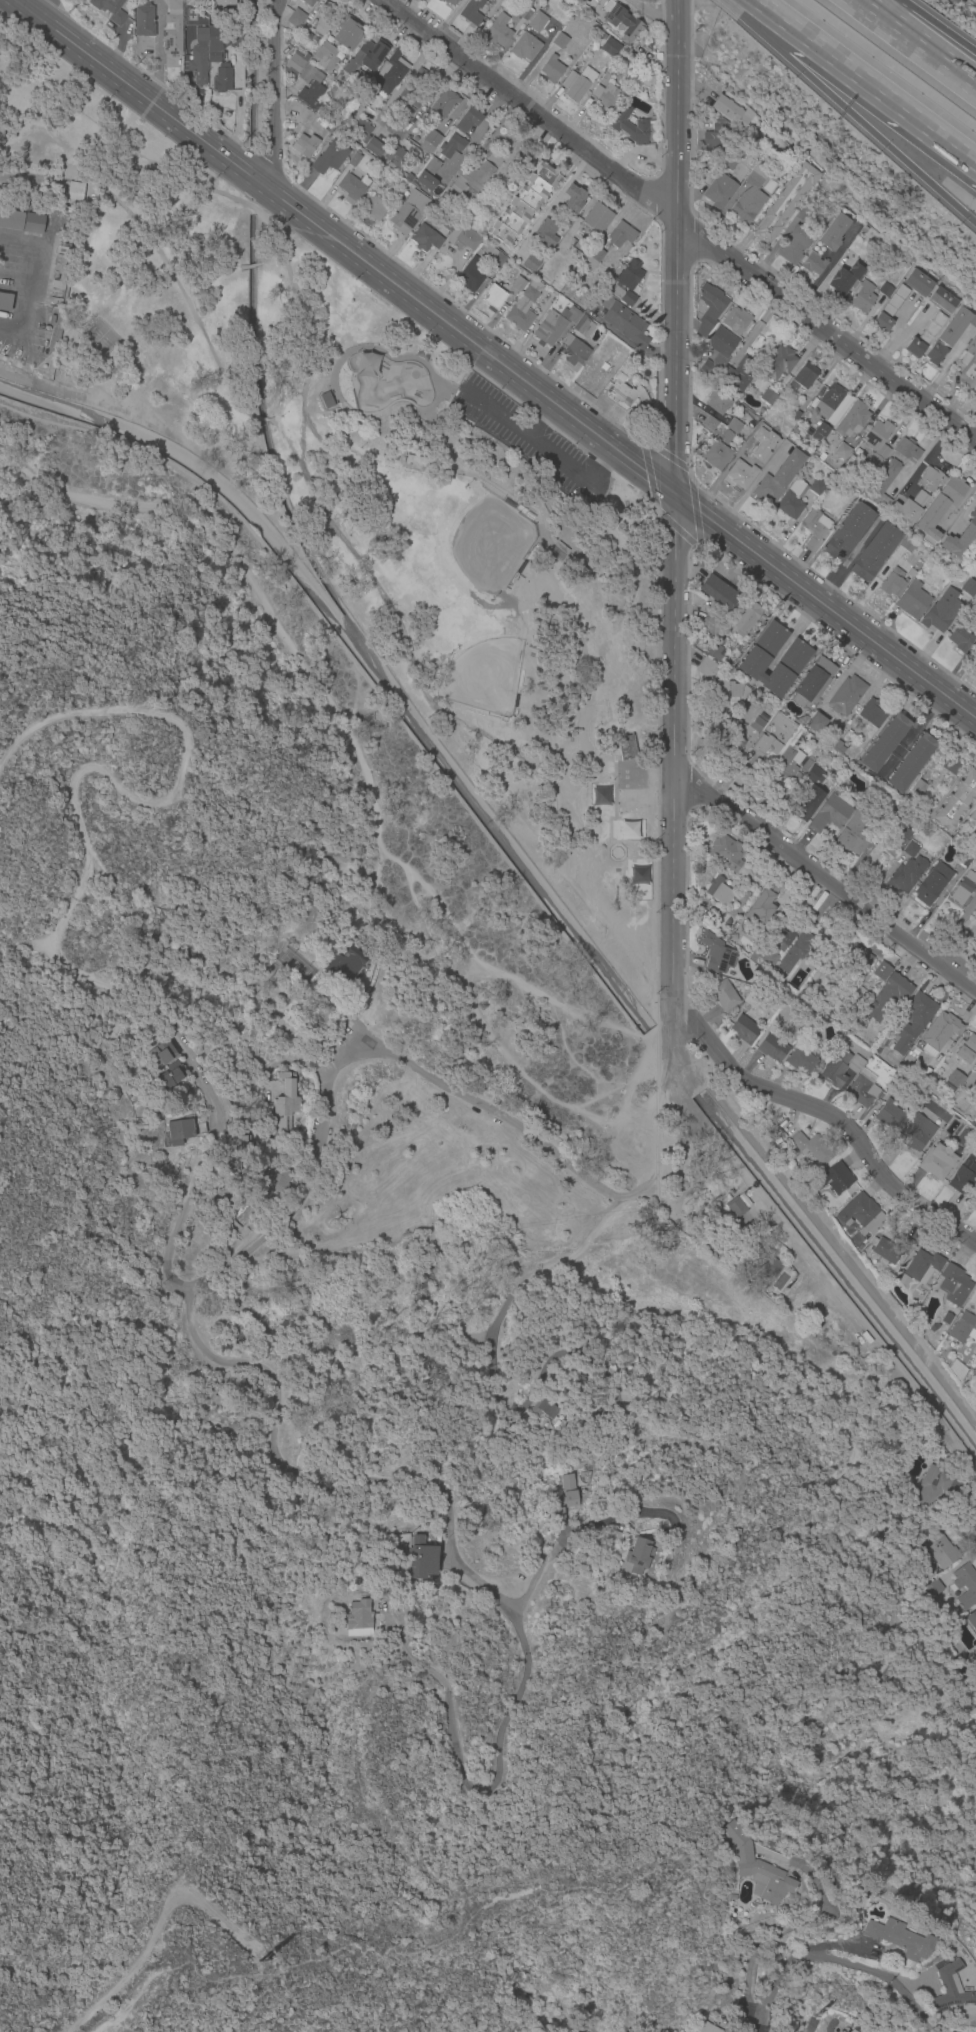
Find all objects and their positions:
building: (224, 2)
building: (309, 2)
building: (448, 2)
road: (43, 8)
building: (470, 8)
building: (111, 10)
building: (522, 11)
road: (448, 17)
building: (144, 19)
building: (295, 20)
building: (622, 21)
building: (537, 22)
building: (323, 27)
road: (928, 28)
building: (172, 29)
building: (498, 31)
building: (348, 33)
building: (559, 41)
building: (215, 42)
road: (915, 44)
building: (525, 47)
building: (610, 47)
road: (156, 49)
building: (326, 56)
building: (366, 57)
building: (199, 58)
building: (295, 64)
building: (552, 69)
building: (391, 73)
building: (222, 81)
road: (864, 82)
building: (578, 84)
building: (311, 87)
building: (415, 90)
road: (274, 95)
building: (607, 97)
building: (443, 104)
road: (860, 110)
building: (732, 111)
building: (467, 119)
building: (319, 126)
building: (633, 127)
building: (362, 130)
building: (717, 135)
road: (475, 136)
building: (431, 141)
building: (304, 144)
building: (375, 148)
building: (451, 148)
building: (396, 156)
building: (496, 157)
building: (330, 158)
building: (355, 160)
building: (729, 162)
building: (428, 175)
building: (472, 178)
building: (770, 186)
building: (353, 188)
building: (719, 192)
building: (75, 193)
building: (453, 197)
building: (573, 198)
building: (749, 198)
building: (785, 202)
building: (524, 205)
building: (372, 207)
building: (822, 210)
building: (408, 212)
building: (596, 218)
building: (11, 219)
building: (442, 220)
road: (682, 222)
building: (34, 223)
building: (546, 233)
building: (620, 235)
building: (464, 237)
building: (426, 238)
road: (780, 238)
building: (826, 242)
building: (794, 245)
road: (679, 248)
road: (158, 253)
building: (495, 257)
building: (593, 258)
building: (531, 262)
road: (249, 266)
road: (826, 267)
building: (471, 275)
building: (843, 281)
building: (919, 282)
road: (22, 283)
building: (626, 283)
building: (518, 284)
building: (886, 290)
building: (493, 297)
building: (863, 298)
building: (942, 300)
building: (5, 302)
building: (524, 306)
building: (710, 309)
building: (890, 309)
road: (900, 313)
building: (623, 321)
building: (736, 321)
building: (973, 322)
building: (554, 325)
building: (583, 326)
building: (954, 327)
road: (896, 334)
building: (926, 335)
park: (101, 341)
road: (630, 345)
building: (719, 351)
building: (574, 354)
building: (936, 354)
road: (497, 360)
building: (779, 363)
building: (604, 367)
building: (969, 369)
building: (738, 376)
building: (802, 377)
park: (384, 381)
building: (626, 392)
building: (768, 397)
building: (325, 399)
building: (828, 401)
building: (718, 402)
building: (840, 410)
building: (797, 416)
road: (536, 417)
road: (260, 419)
building: (852, 420)
building: (710, 424)
building: (734, 426)
building: (820, 433)
building: (759, 435)
building: (724, 437)
road: (530, 440)
parking lot: (529, 441)
building: (751, 443)
building: (877, 443)
building: (841, 451)
road: (666, 455)
building: (717, 456)
road: (928, 459)
building: (416, 461)
road: (599, 465)
building: (890, 473)
building: (741, 474)
road: (648, 476)
building: (780, 477)
building: (931, 479)
building: (817, 487)
traffic signals: (676, 496)
building: (792, 500)
building: (908, 509)
building: (940, 509)
road: (695, 511)
building: (816, 529)
road: (677, 530)
building: (848, 532)
building: (959, 541)
park: (354, 544)
building: (909, 544)
park: (490, 545)
building: (559, 551)
building: (875, 552)
building: (893, 583)
building: (968, 587)
building: (719, 593)
building: (913, 601)
building: (941, 610)
building: (761, 618)
building: (745, 619)
building: (710, 624)
building: (960, 641)
building: (713, 651)
building: (793, 660)
park: (486, 675)
building: (813, 682)
building: (721, 687)
building: (847, 696)
building: (623, 707)
building: (874, 714)
building: (817, 723)
building: (770, 733)
road: (912, 733)
building: (798, 739)
building: (731, 740)
building: (884, 743)
building: (837, 747)
building: (627, 748)
building: (911, 763)
building: (806, 764)
building: (949, 765)
building: (788, 766)
road: (94, 771)
building: (815, 775)
building: (919, 788)
road: (675, 789)
building: (599, 796)
building: (956, 801)
building: (808, 804)
building: (902, 812)
building: (832, 813)
building: (973, 816)
building: (857, 830)
building: (898, 835)
building: (911, 850)
building: (726, 853)
building: (963, 858)
building: (906, 875)
building: (761, 876)
road: (829, 881)
building: (933, 884)
building: (964, 888)
building: (719, 891)
building: (763, 907)
building: (781, 937)
building: (796, 952)
building: (717, 954)
building: (769, 958)
building: (859, 959)
building: (346, 962)
building: (882, 971)
building: (725, 996)
building: (818, 996)
building: (752, 997)
building: (888, 997)
road: (564, 1006)
building: (913, 1022)
building: (745, 1030)
building: (940, 1032)
building: (255, 1034)
building: (772, 1048)
building: (967, 1049)
building: (162, 1054)
road: (358, 1057)
building: (800, 1060)
building: (841, 1068)
building: (975, 1069)
building: (956, 1079)
building: (171, 1080)
building: (863, 1089)
building: (284, 1105)
building: (890, 1116)
road: (835, 1117)
building: (184, 1129)
building: (916, 1134)
building: (235, 1146)
power tower: (95, 1147)
building: (812, 1148)
road: (667, 1151)
building: (792, 1152)
building: (938, 1162)
building: (278, 1178)
building: (834, 1179)
building: (964, 1182)
building: (751, 1197)
building: (975, 1202)
building: (738, 1206)
building: (258, 1210)
building: (861, 1214)
road: (670, 1241)
building: (892, 1249)
building: (924, 1266)
building: (760, 1267)
building: (954, 1285)
building: (912, 1310)
road: (520, 1318)
building: (946, 1319)
building: (933, 1327)
building: (964, 1329)
building: (957, 1371)
building: (547, 1409)
building: (219, 1418)
building: (606, 1447)
road: (335, 1481)
building: (930, 1492)
building: (566, 1497)
road: (585, 1527)
building: (939, 1548)
building: (634, 1558)
building: (420, 1559)
building: (966, 1586)
building: (933, 1587)
building: (956, 1594)
building: (358, 1619)
building: (972, 1620)
building: (971, 1659)
road: (418, 1665)
road: (380, 1819)
building: (758, 1869)
building: (733, 1897)
road: (794, 1923)
road: (158, 1929)
building: (897, 1939)
road: (827, 1957)
power tower: (259, 1958)
building: (948, 1989)
building: (812, 2025)
building: (706, 2027)
road: (596, 2030)

